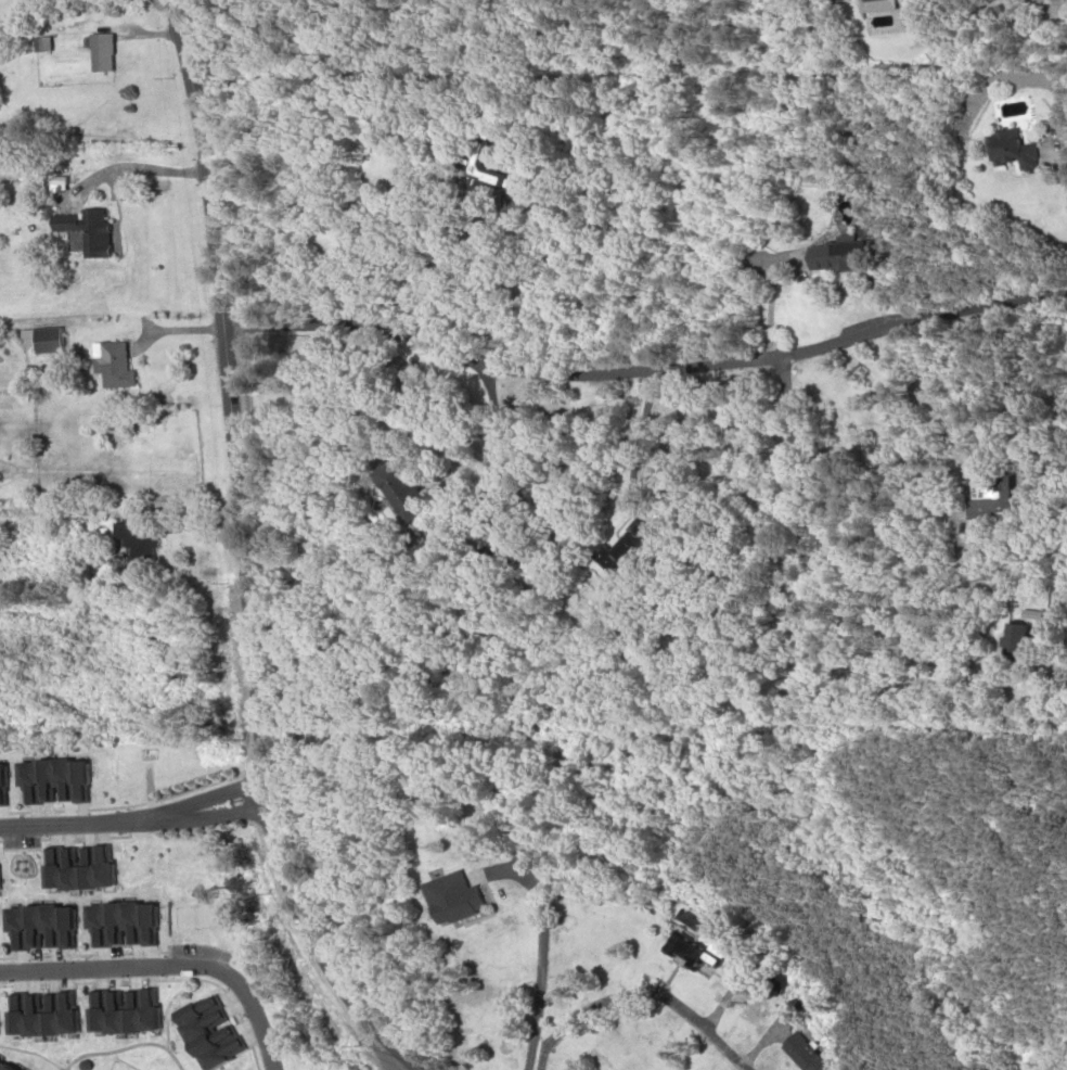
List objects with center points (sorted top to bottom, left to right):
building: (843, 0)
building: (872, 1)
building: (99, 53)
building: (1007, 149)
building: (475, 166)
building: (86, 231)
building: (832, 256)
road: (764, 309)
building: (39, 340)
building: (111, 365)
road: (647, 368)
road: (788, 430)
road: (632, 444)
building: (982, 495)
building: (402, 496)
building: (134, 539)
building: (624, 551)
road: (241, 552)
building: (1008, 646)
building: (49, 780)
building: (1, 784)
road: (133, 819)
building: (74, 867)
building: (451, 899)
building: (117, 922)
building: (36, 926)
building: (687, 953)
road: (540, 954)
road: (165, 965)
road: (637, 996)
building: (119, 1010)
building: (37, 1012)
building: (204, 1034)
building: (799, 1054)
building: (2, 1068)

